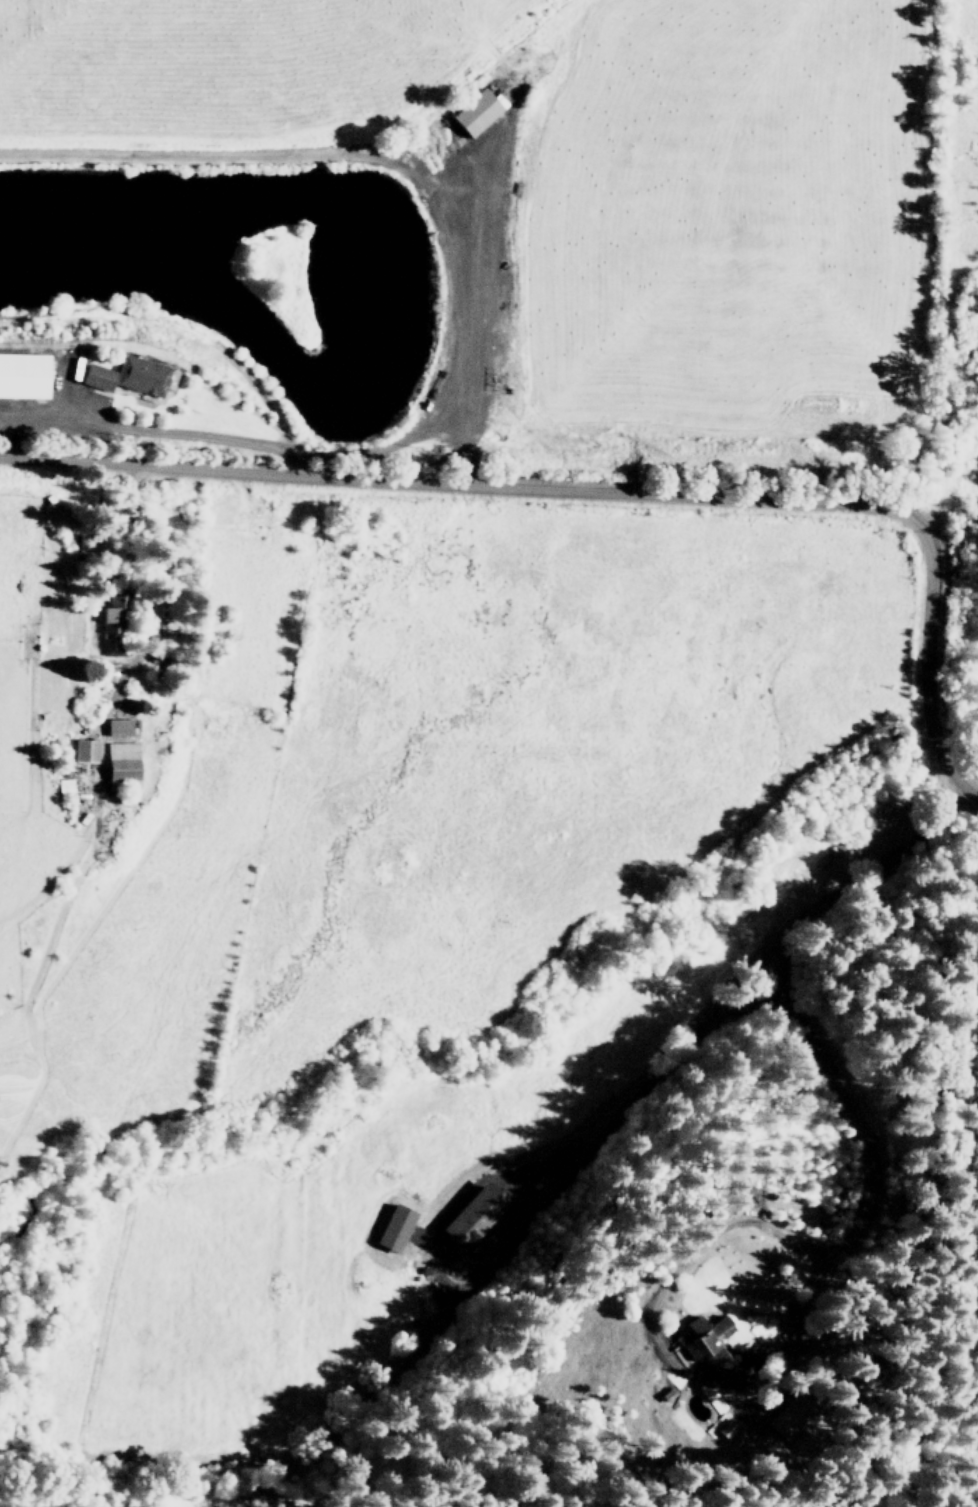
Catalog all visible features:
building: (478, 111)
building: (25, 374)
building: (132, 375)
road: (608, 491)
road: (962, 746)
building: (86, 750)
building: (123, 761)
building: (63, 786)
road: (605, 1139)
building: (477, 1214)
building: (397, 1227)
building: (711, 1342)
building: (791, 1414)

